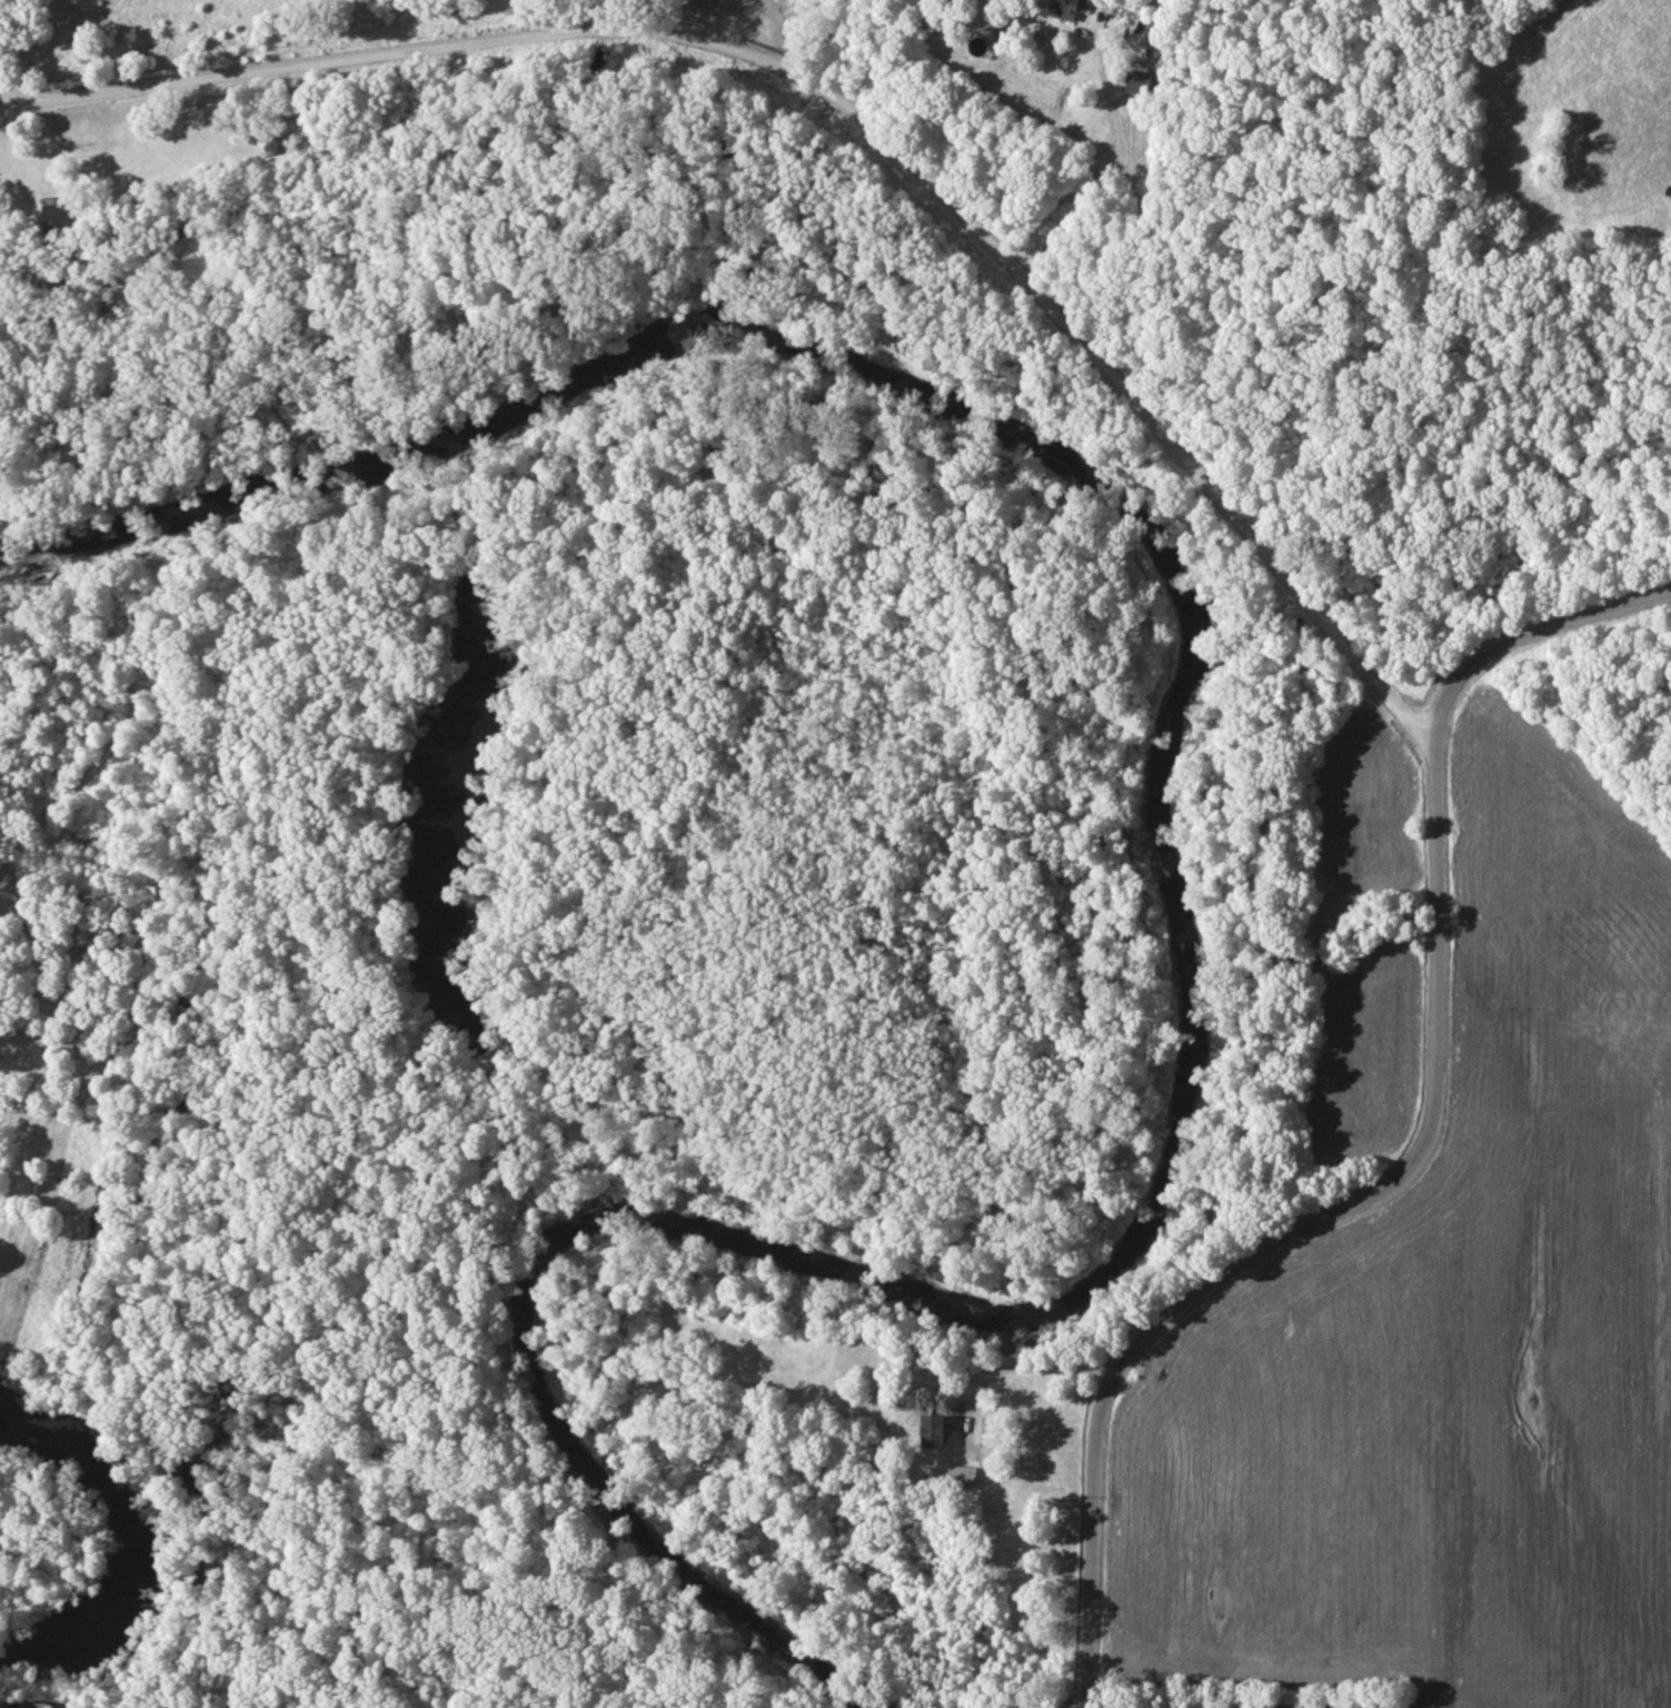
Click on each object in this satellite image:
building: (1067, 8)
road: (740, 19)
building: (1140, 82)
road: (2, 99)
road: (847, 106)
road: (1104, 185)
building: (61, 216)
road: (28, 276)
road: (1521, 637)
building: (95, 843)
river: (1176, 886)
road: (1290, 1235)
road: (1011, 1369)
building: (936, 1430)
building: (963, 1477)

